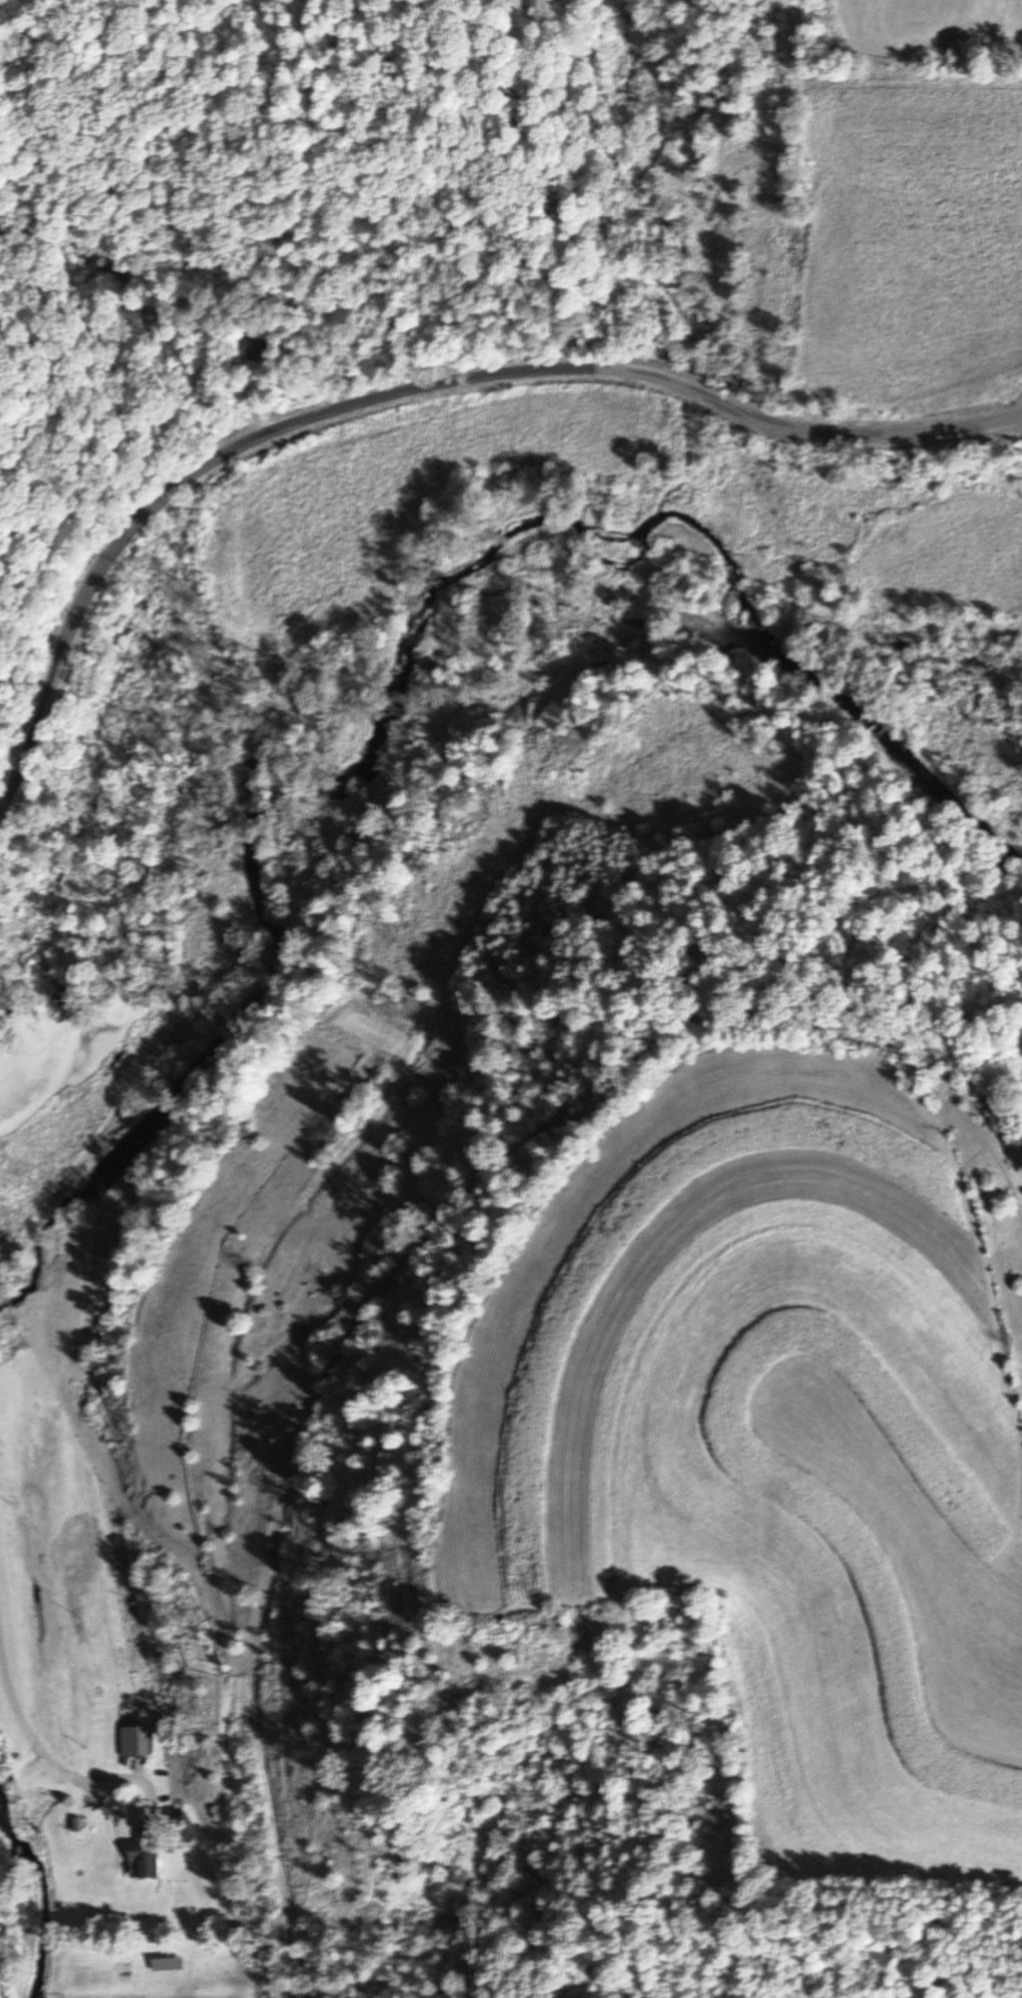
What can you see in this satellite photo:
building: (255, 350)
road: (402, 398)
road: (19, 1678)
building: (131, 1741)
building: (179, 1825)
building: (141, 1854)

